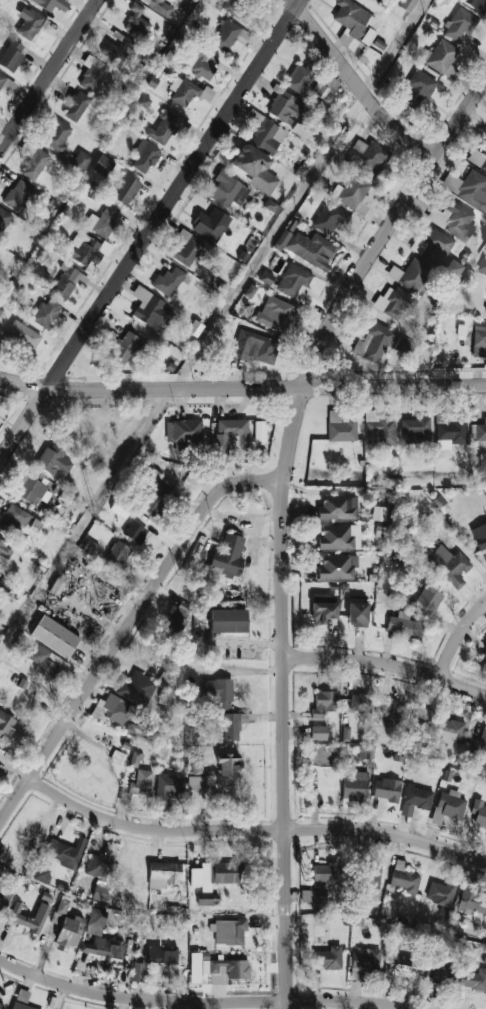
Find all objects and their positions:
building: (51, 4)
building: (158, 5)
building: (408, 5)
building: (477, 5)
building: (232, 7)
building: (136, 21)
building: (29, 23)
building: (353, 24)
building: (461, 26)
building: (225, 35)
building: (116, 50)
building: (12, 55)
building: (441, 56)
building: (200, 64)
building: (92, 73)
road: (46, 74)
building: (298, 78)
building: (2, 79)
road: (356, 83)
building: (420, 84)
building: (325, 85)
building: (183, 91)
building: (144, 101)
building: (76, 106)
building: (285, 107)
building: (163, 127)
building: (57, 136)
building: (266, 136)
power tower: (327, 147)
building: (367, 155)
building: (145, 156)
building: (478, 158)
building: (80, 161)
building: (35, 164)
building: (103, 165)
building: (255, 168)
building: (468, 188)
building: (126, 190)
building: (228, 190)
building: (350, 192)
road: (173, 193)
building: (18, 195)
building: (330, 218)
building: (4, 219)
building: (453, 220)
building: (102, 221)
building: (210, 224)
building: (433, 246)
building: (187, 247)
building: (306, 248)
building: (87, 249)
building: (482, 265)
building: (453, 268)
building: (412, 275)
building: (167, 276)
building: (266, 278)
building: (66, 281)
building: (295, 283)
building: (392, 303)
building: (485, 309)
building: (151, 310)
building: (46, 312)
building: (275, 314)
power tower: (214, 322)
building: (22, 335)
building: (479, 341)
building: (374, 343)
building: (404, 346)
building: (124, 347)
building: (255, 347)
road: (24, 382)
road: (267, 386)
road: (24, 425)
building: (340, 427)
building: (380, 428)
building: (416, 430)
building: (183, 431)
building: (260, 432)
building: (481, 432)
building: (450, 434)
building: (229, 437)
building: (54, 461)
building: (33, 491)
building: (157, 498)
building: (337, 507)
building: (120, 508)
power tower: (92, 510)
road: (283, 516)
building: (13, 518)
building: (135, 532)
building: (339, 537)
building: (482, 538)
building: (90, 547)
building: (5, 549)
building: (117, 555)
building: (227, 556)
building: (448, 564)
building: (337, 567)
building: (428, 598)
building: (323, 608)
road: (88, 611)
building: (357, 613)
building: (178, 617)
building: (228, 621)
building: (403, 626)
road: (126, 630)
road: (457, 635)
building: (54, 636)
road: (246, 643)
building: (483, 662)
building: (48, 664)
road: (387, 664)
building: (144, 690)
building: (323, 703)
building: (359, 703)
building: (223, 706)
building: (115, 710)
building: (388, 712)
building: (422, 719)
building: (5, 722)
building: (137, 731)
building: (449, 731)
building: (318, 733)
building: (478, 743)
building: (364, 753)
building: (134, 759)
building: (228, 764)
building: (198, 765)
building: (141, 782)
building: (196, 783)
building: (354, 785)
building: (167, 787)
building: (387, 789)
building: (418, 797)
building: (451, 804)
building: (349, 806)
building: (479, 813)
road: (235, 830)
building: (66, 852)
building: (98, 866)
building: (225, 872)
building: (41, 874)
building: (163, 874)
building: (372, 876)
building: (404, 878)
building: (319, 880)
building: (203, 885)
building: (5, 888)
building: (99, 892)
building: (440, 893)
building: (472, 903)
building: (28, 917)
building: (96, 919)
building: (65, 928)
building: (228, 931)
building: (104, 948)
building: (162, 954)
building: (327, 956)
building: (364, 962)
building: (403, 966)
building: (439, 967)
building: (225, 970)
building: (138, 972)
building: (474, 979)
road: (198, 1001)
building: (1, 1005)
building: (20, 1006)

